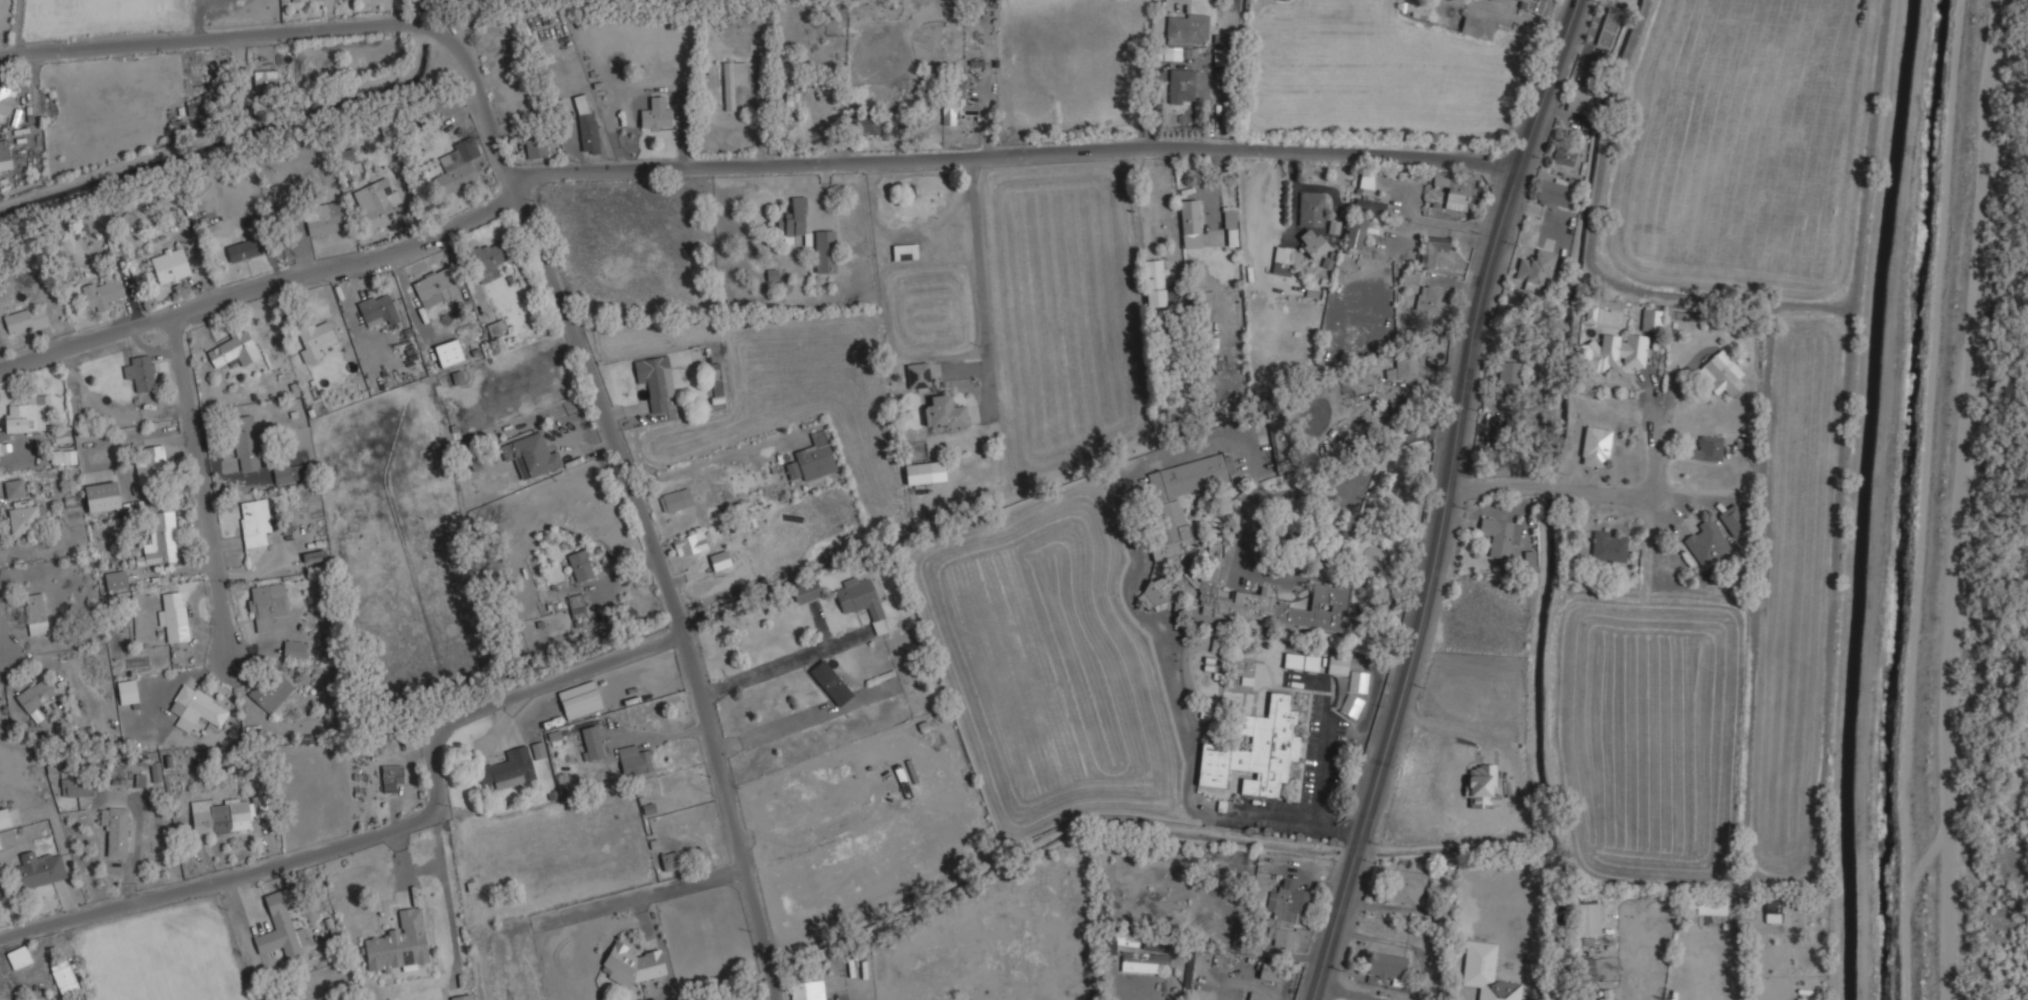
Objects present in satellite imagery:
building: (297, 0)
building: (1530, 5)
road: (442, 16)
building: (1186, 26)
building: (1477, 26)
building: (1607, 27)
road: (218, 37)
building: (265, 79)
building: (732, 81)
building: (1180, 85)
building: (6, 98)
building: (1578, 102)
building: (580, 103)
building: (788, 104)
building: (195, 108)
building: (956, 110)
building: (655, 114)
building: (864, 123)
building: (588, 132)
building: (535, 148)
road: (1015, 154)
building: (4, 155)
building: (1564, 157)
building: (456, 168)
building: (1365, 181)
building: (1556, 191)
building: (1453, 192)
building: (376, 202)
building: (1368, 205)
building: (1310, 209)
building: (324, 218)
building: (779, 222)
building: (795, 222)
building: (1189, 223)
building: (1229, 227)
building: (1356, 231)
building: (1312, 243)
building: (1431, 249)
building: (240, 251)
building: (824, 251)
building: (904, 252)
building: (1281, 260)
building: (488, 261)
building: (170, 266)
building: (1535, 266)
building: (1154, 275)
building: (1407, 276)
road: (983, 283)
road: (265, 284)
building: (432, 287)
building: (101, 292)
park: (1763, 296)
building: (1429, 299)
building: (376, 310)
building: (1590, 313)
building: (24, 320)
building: (1652, 320)
building: (494, 330)
building: (314, 339)
building: (232, 350)
building: (1616, 351)
building: (1403, 367)
building: (140, 372)
building: (1509, 372)
building: (1720, 373)
building: (917, 375)
building: (654, 380)
building: (717, 391)
building: (945, 411)
building: (25, 415)
building: (1278, 440)
building: (245, 443)
building: (1595, 446)
building: (1707, 449)
building: (530, 455)
building: (62, 457)
building: (812, 458)
building: (151, 464)
building: (924, 472)
building: (287, 473)
building: (13, 488)
road: (203, 489)
road: (1599, 492)
building: (101, 497)
building: (1178, 498)
building: (675, 500)
road: (1446, 500)
road: (637, 503)
building: (25, 518)
road: (1250, 518)
building: (1732, 520)
building: (253, 522)
building: (1499, 535)
building: (159, 538)
building: (1706, 543)
building: (689, 544)
building: (1608, 547)
building: (720, 560)
building: (1529, 560)
building: (579, 565)
parking lot: (1241, 571)
building: (115, 580)
building: (1329, 589)
building: (1155, 591)
building: (861, 601)
building: (266, 605)
building: (576, 606)
building: (35, 614)
building: (629, 616)
building: (173, 617)
building: (292, 650)
road: (1, 655)
building: (1300, 661)
road: (781, 665)
building: (1337, 665)
building: (1357, 681)
building: (830, 682)
building: (126, 691)
building: (270, 691)
building: (35, 696)
building: (578, 700)
building: (1350, 705)
building: (195, 708)
road: (769, 729)
building: (590, 743)
building: (538, 749)
building: (1255, 751)
parking lot: (1321, 751)
building: (633, 760)
building: (508, 769)
building: (155, 771)
building: (390, 778)
building: (140, 780)
building: (902, 781)
building: (73, 789)
building: (227, 814)
building: (114, 829)
road: (382, 840)
building: (0, 846)
building: (670, 861)
building: (36, 870)
road: (428, 870)
building: (1407, 886)
road: (642, 895)
building: (1285, 901)
building: (1711, 908)
building: (1771, 913)
road: (449, 916)
building: (1587, 918)
building: (281, 935)
building: (1281, 937)
building: (397, 945)
building: (1108, 945)
building: (18, 957)
building: (1140, 962)
building: (630, 965)
building: (1585, 970)
building: (1268, 972)
building: (1486, 972)
building: (64, 977)
building: (806, 990)
building: (1605, 994)
road: (1767, 995)
building: (1258, 996)
building: (461, 997)

